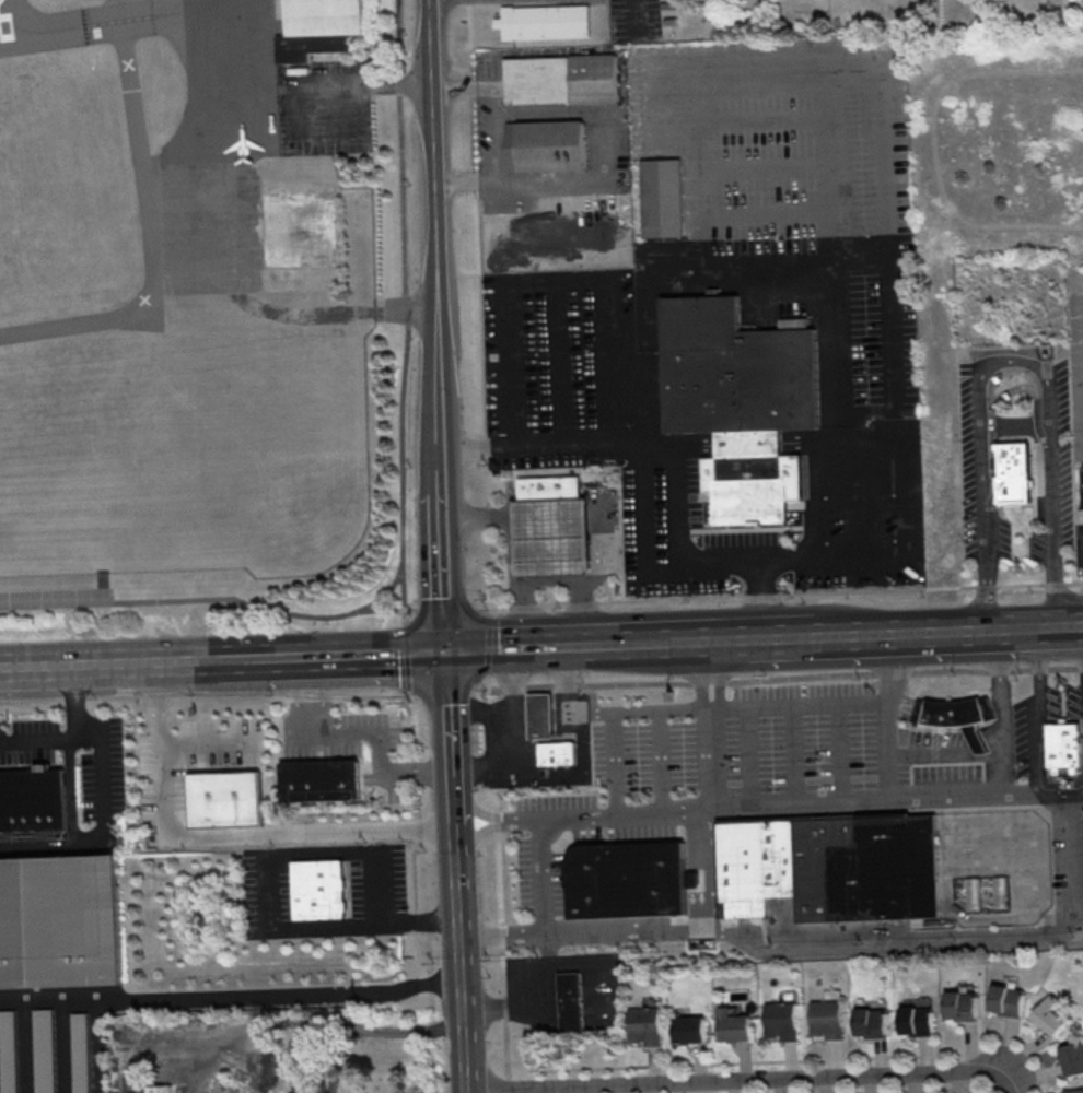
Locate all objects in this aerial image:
airport taxiway: (166, 13)
building: (544, 21)
airport taxiway: (75, 25)
building: (319, 27)
building: (566, 79)
road: (284, 92)
road: (496, 132)
building: (551, 145)
airport apron: (236, 165)
road: (695, 178)
building: (661, 198)
road: (884, 215)
road: (149, 225)
road: (765, 261)
road: (536, 274)
airport: (177, 296)
road: (405, 304)
road: (887, 328)
road: (1013, 361)
road: (648, 388)
building: (744, 404)
road: (667, 466)
building: (1082, 472)
building: (1012, 475)
building: (547, 487)
road: (477, 519)
road: (487, 534)
building: (548, 536)
road: (523, 541)
road: (445, 546)
road: (884, 557)
road: (1022, 583)
road: (578, 585)
road: (698, 597)
road: (123, 601)
road: (55, 602)
road: (385, 608)
road: (444, 608)
road: (278, 610)
road: (404, 610)
road: (525, 612)
road: (1071, 627)
road: (909, 633)
road: (729, 640)
road: (488, 644)
road: (640, 645)
road: (513, 649)
traffic signals: (446, 653)
road: (366, 654)
road: (406, 656)
road: (251, 657)
road: (106, 662)
road: (892, 669)
road: (717, 675)
road: (699, 677)
road: (785, 678)
road: (563, 681)
road: (512, 685)
road: (487, 690)
road: (85, 691)
road: (999, 691)
road: (442, 693)
road: (324, 694)
road: (295, 695)
road: (409, 696)
road: (74, 697)
road: (289, 698)
road: (845, 704)
road: (539, 706)
road: (481, 709)
building: (539, 712)
road: (613, 714)
road: (1038, 714)
building: (953, 716)
road: (206, 741)
road: (382, 742)
road: (979, 747)
building: (1063, 748)
building: (556, 751)
road: (839, 752)
road: (930, 752)
road: (795, 753)
road: (749, 754)
road: (711, 755)
road: (661, 759)
road: (511, 764)
road: (1000, 765)
building: (337, 779)
building: (298, 780)
road: (1041, 781)
road: (101, 783)
road: (70, 792)
road: (1060, 795)
building: (225, 797)
building: (32, 800)
road: (1059, 803)
building: (842, 831)
road: (218, 835)
road: (690, 836)
building: (779, 856)
building: (742, 867)
building: (887, 868)
building: (812, 869)
road: (692, 877)
building: (629, 878)
building: (317, 889)
road: (266, 891)
building: (987, 892)
road: (545, 917)
building: (59, 920)
road: (703, 926)
road: (641, 931)
road: (603, 965)
road: (406, 985)
road: (175, 996)
building: (1006, 999)
building: (569, 1000)
road: (570, 1003)
road: (538, 1004)
road: (552, 1004)
building: (960, 1004)
building: (1049, 1014)
building: (826, 1018)
building: (871, 1019)
building: (780, 1020)
building: (916, 1020)
building: (643, 1023)
road: (322, 1024)
building: (733, 1024)
building: (689, 1029)
road: (96, 1045)
building: (44, 1049)
building: (8, 1053)
building: (80, 1053)
road: (143, 1057)
building: (1072, 1058)
road: (188, 1070)
road: (741, 1079)
building: (160, 1089)
building: (1073, 1091)

